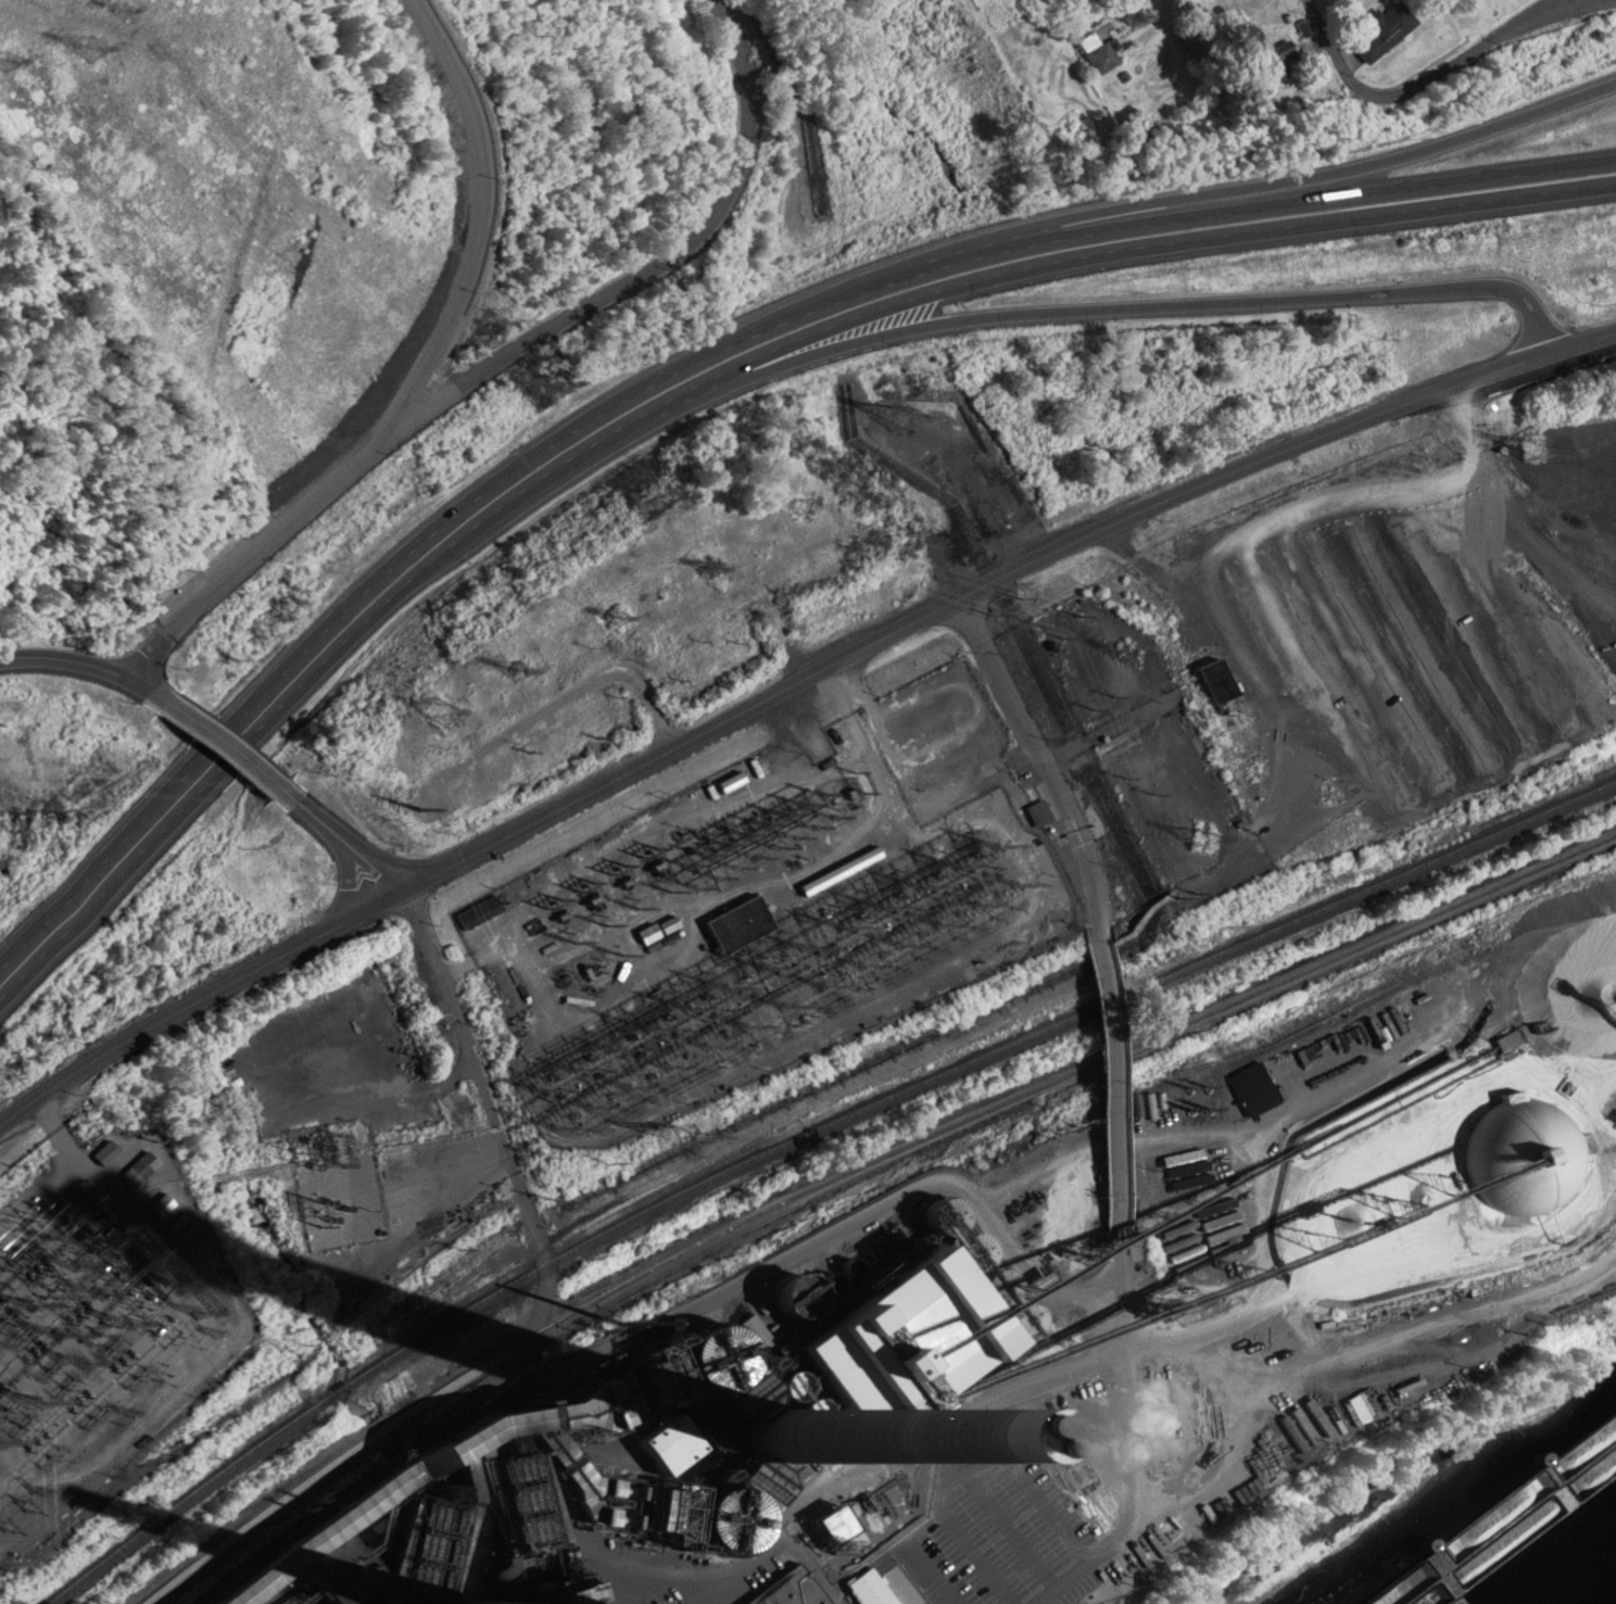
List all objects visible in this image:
road: (1116, 7)
building: (1381, 26)
building: (1098, 49)
building: (1268, 54)
road: (1409, 83)
road: (1177, 194)
road: (986, 312)
road: (702, 354)
road: (702, 378)
power tower: (913, 416)
power tower: (1533, 443)
road: (1512, 502)
power tower: (795, 503)
power tower: (692, 559)
power tower: (616, 617)
power tower: (1062, 628)
parking lot: (1407, 644)
road: (94, 657)
power tower: (514, 664)
building: (1219, 677)
road: (788, 680)
power tower: (434, 716)
building: (1246, 723)
parking lot: (935, 734)
road: (233, 742)
road: (1047, 747)
power tower: (395, 796)
building: (1037, 810)
road: (345, 834)
power tower: (1174, 893)
building: (732, 915)
building: (668, 922)
power substation: (742, 929)
building: (368, 973)
building: (1392, 1020)
building: (391, 1036)
building: (1506, 1036)
building: (1341, 1041)
building: (1315, 1052)
road: (1107, 1065)
building: (1257, 1079)
road: (493, 1108)
railway: (794, 1121)
road: (1220, 1125)
power plant: (905, 1133)
building: (1522, 1147)
storage tank: (1522, 1147)
building: (104, 1151)
railway: (861, 1159)
building: (141, 1163)
road: (914, 1189)
building: (177, 1221)
building: (1044, 1222)
road: (1119, 1266)
power substation: (110, 1322)
building: (1437, 1382)
building: (707, 1419)
building: (1300, 1427)
chimney: (784, 1434)
building: (792, 1586)
building: (1062, 1600)

